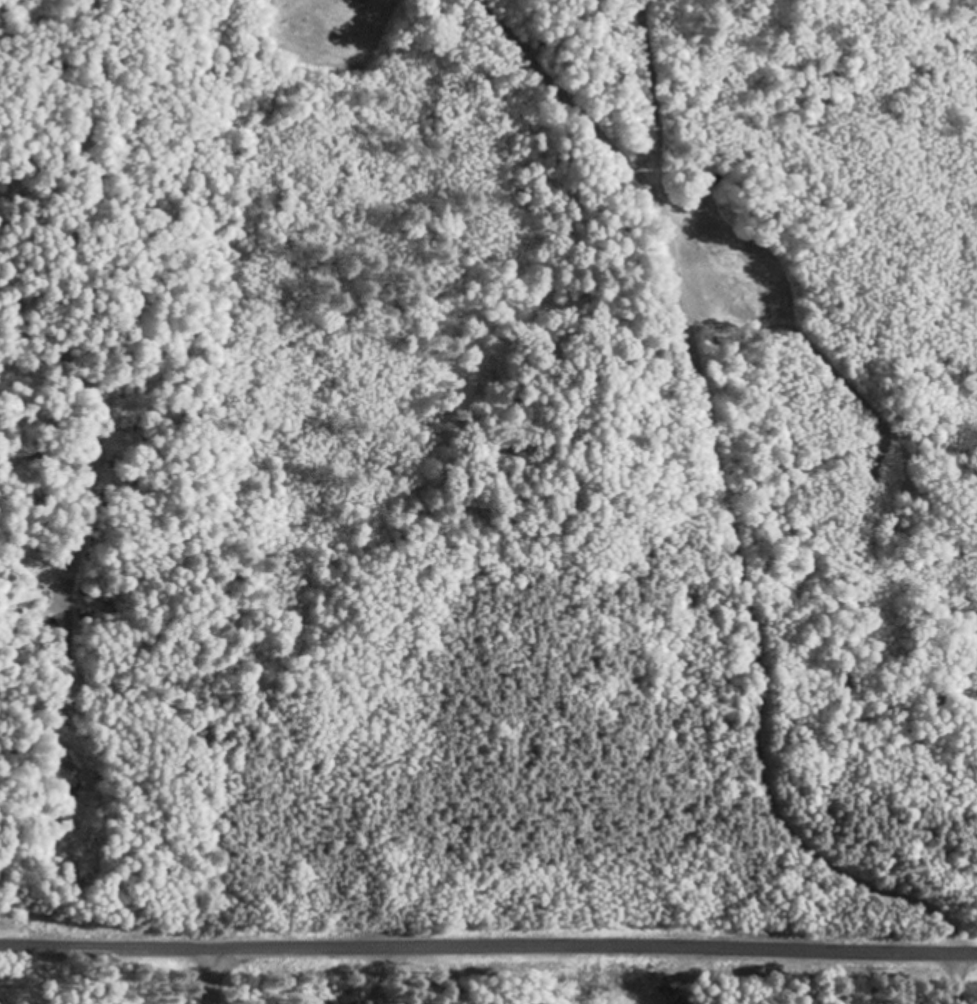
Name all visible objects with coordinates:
road: (488, 946)
road: (211, 976)

